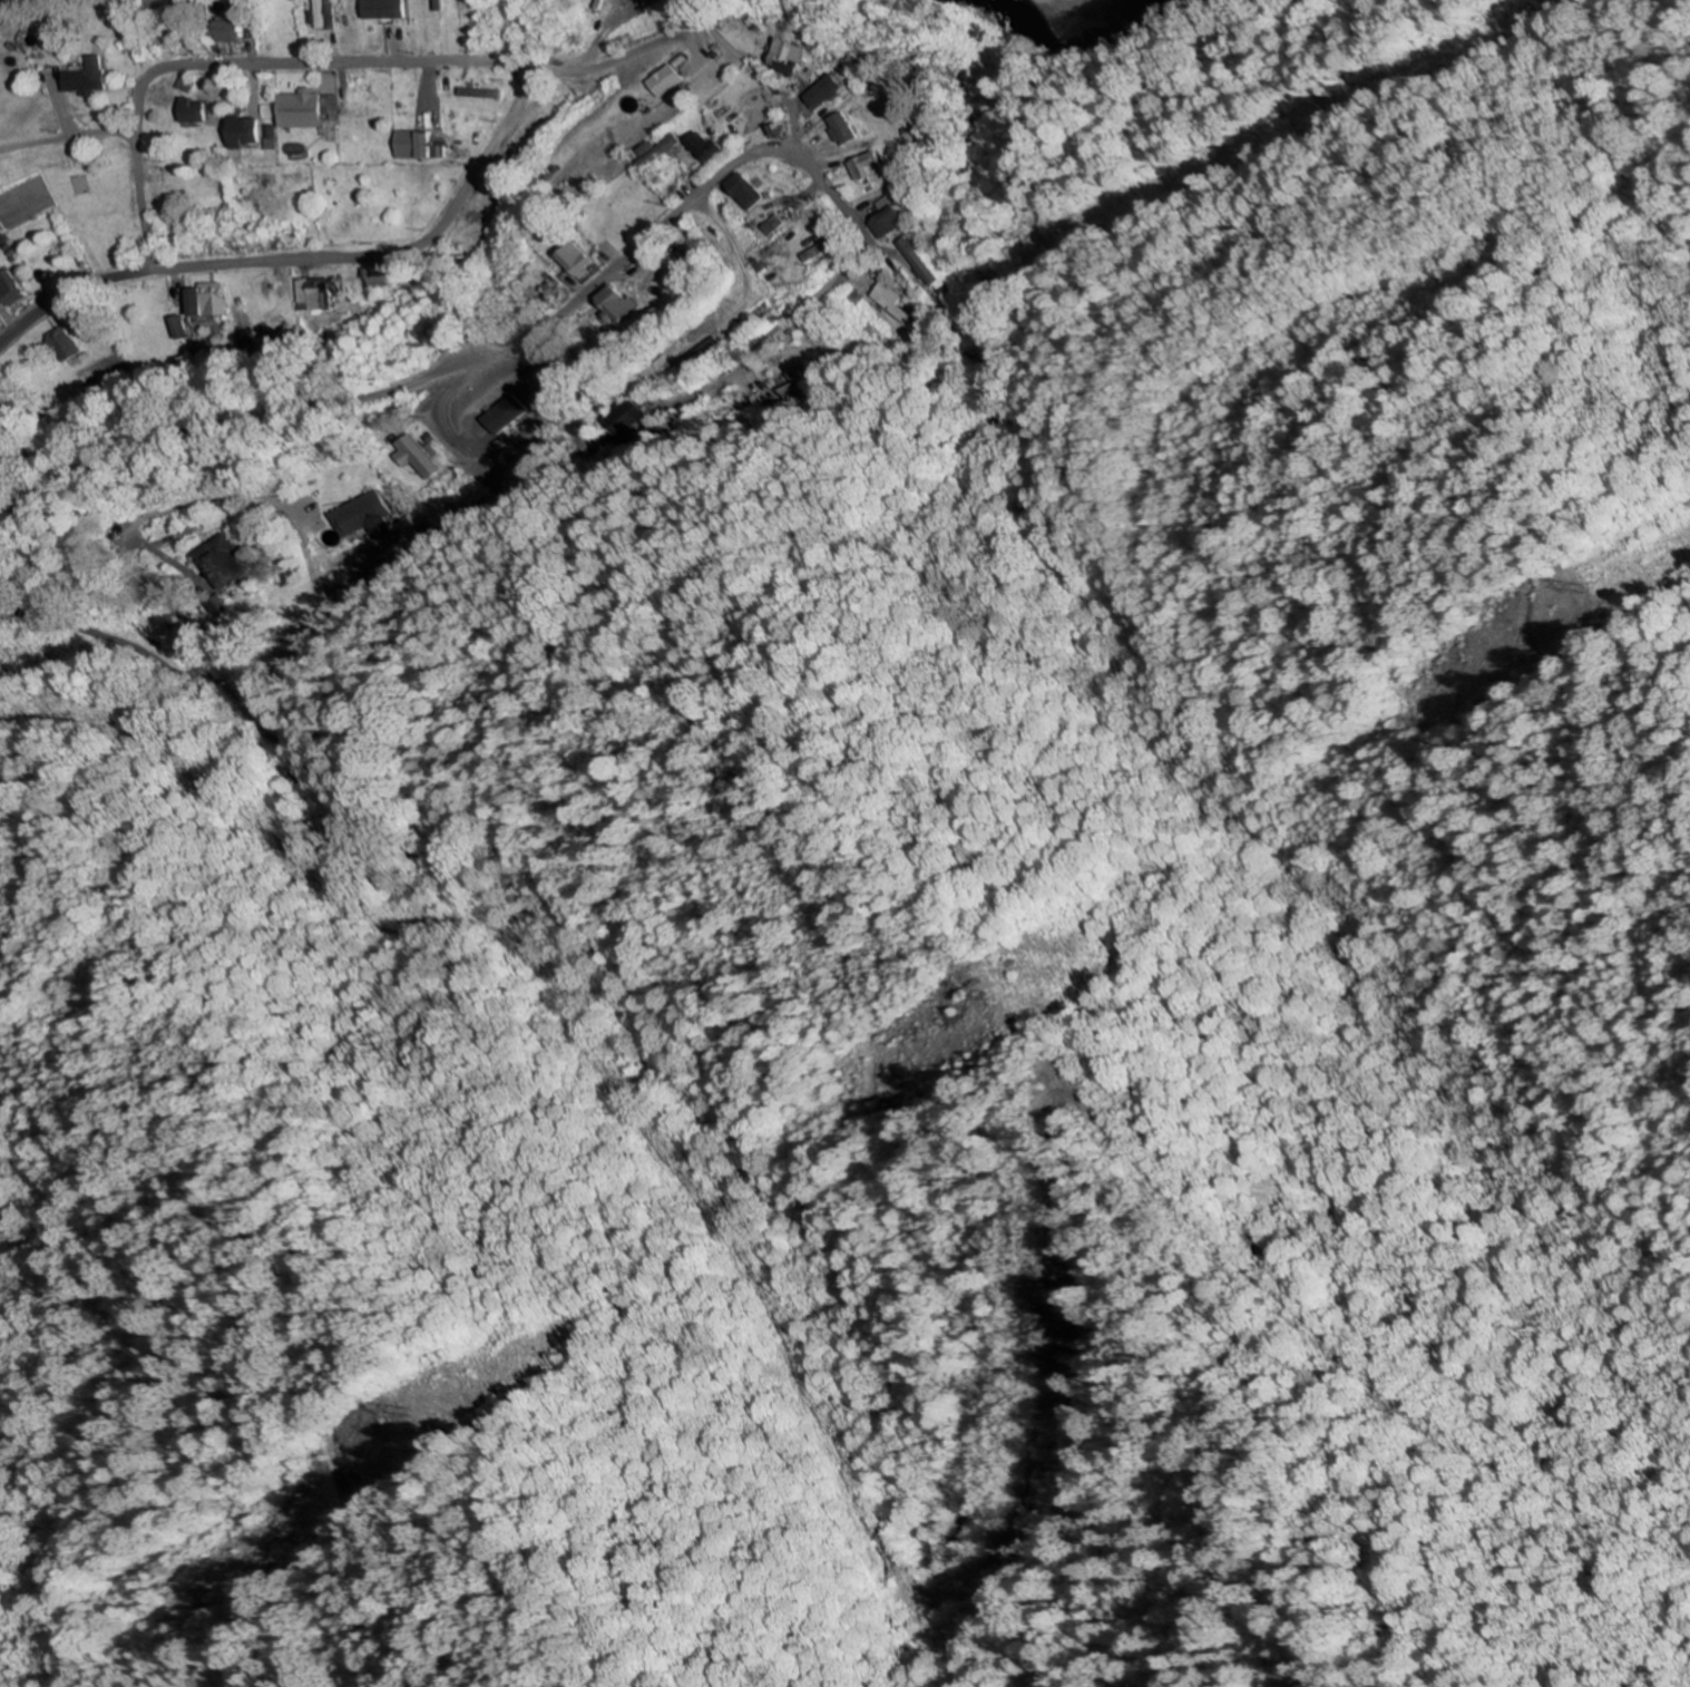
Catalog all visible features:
building: (384, 9)
building: (319, 13)
river: (1065, 21)
building: (233, 30)
building: (780, 57)
building: (654, 81)
building: (182, 86)
building: (473, 92)
building: (818, 92)
building: (191, 110)
road: (491, 127)
building: (837, 128)
building: (411, 145)
building: (696, 146)
building: (651, 150)
building: (862, 168)
building: (737, 191)
building: (885, 222)
building: (766, 225)
road: (141, 238)
building: (813, 250)
building: (918, 259)
building: (567, 260)
building: (365, 275)
building: (9, 289)
building: (199, 300)
building: (888, 302)
building: (606, 304)
road: (551, 318)
building: (172, 326)
building: (57, 343)
building: (701, 349)
building: (794, 383)
building: (501, 415)
building: (621, 417)
building: (410, 457)
building: (356, 516)
building: (227, 563)
power tower: (1585, 588)
road: (183, 659)
power tower: (979, 998)
power tower: (422, 1413)

